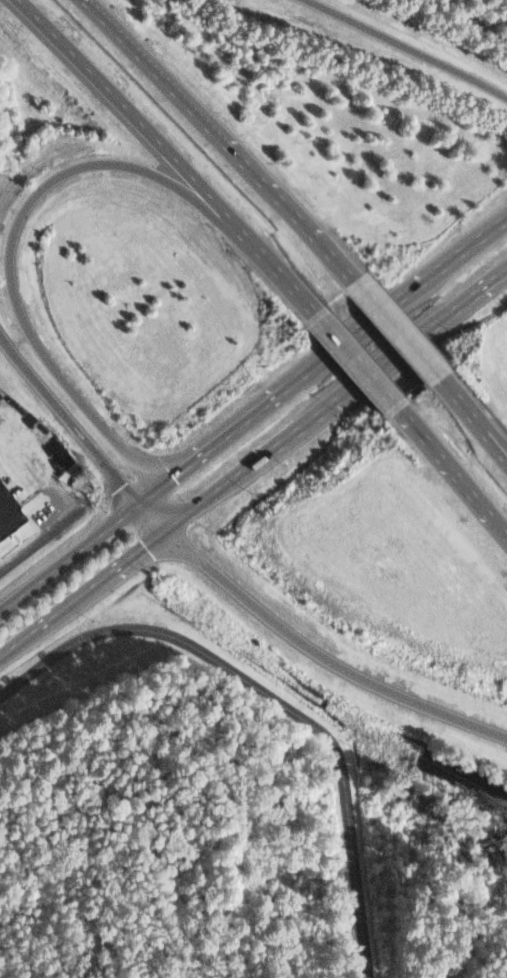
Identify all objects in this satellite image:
road: (410, 46)
road: (219, 136)
road: (150, 138)
road: (18, 214)
road: (301, 297)
road: (393, 330)
road: (333, 351)
road: (358, 365)
road: (472, 417)
road: (472, 423)
road: (253, 463)
road: (41, 474)
road: (454, 477)
traffic signals: (159, 487)
traffic signals: (134, 505)
building: (9, 511)
road: (60, 517)
traffic signals: (166, 530)
road: (41, 539)
road: (79, 549)
road: (223, 580)
road: (272, 700)

